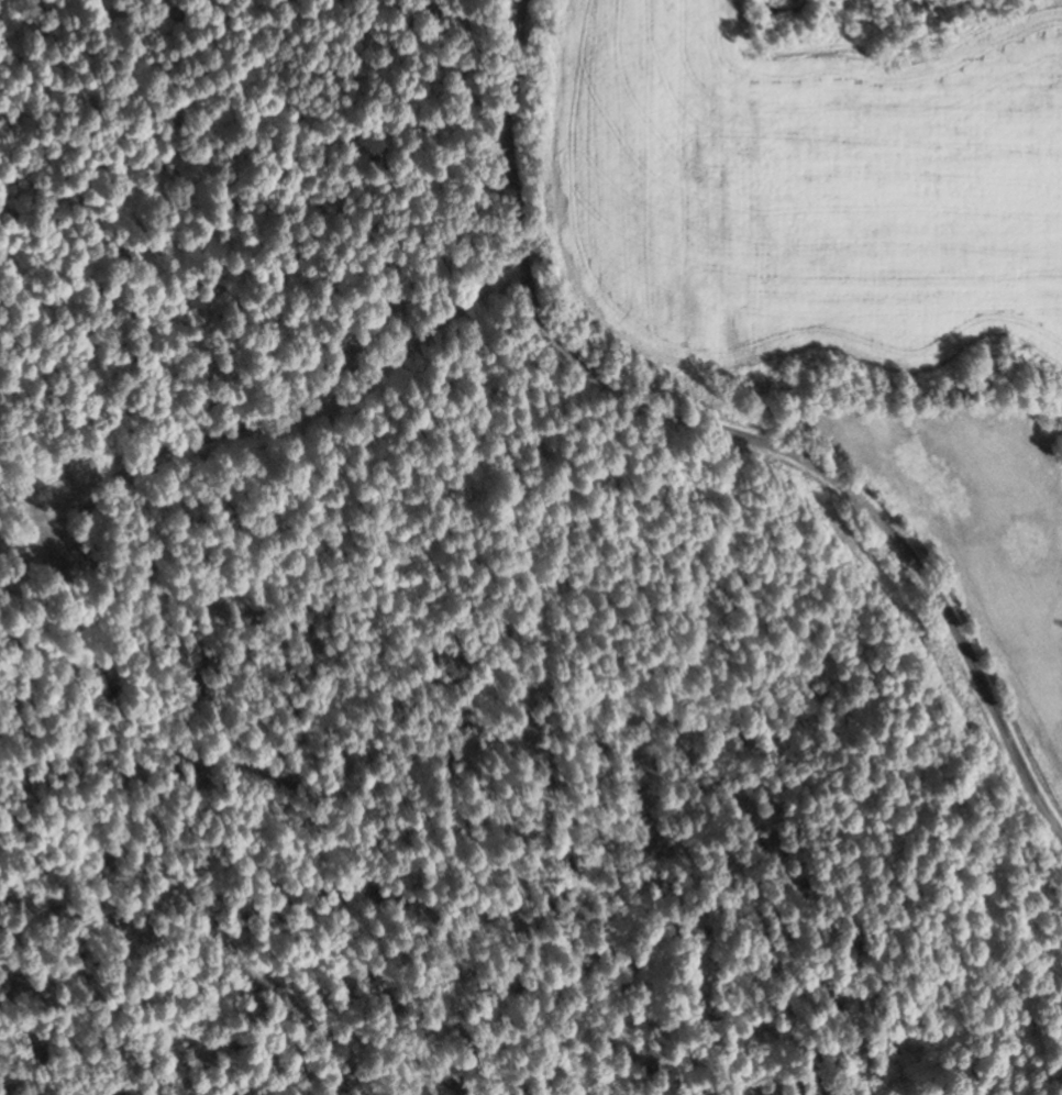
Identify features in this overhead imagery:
road: (729, 429)

